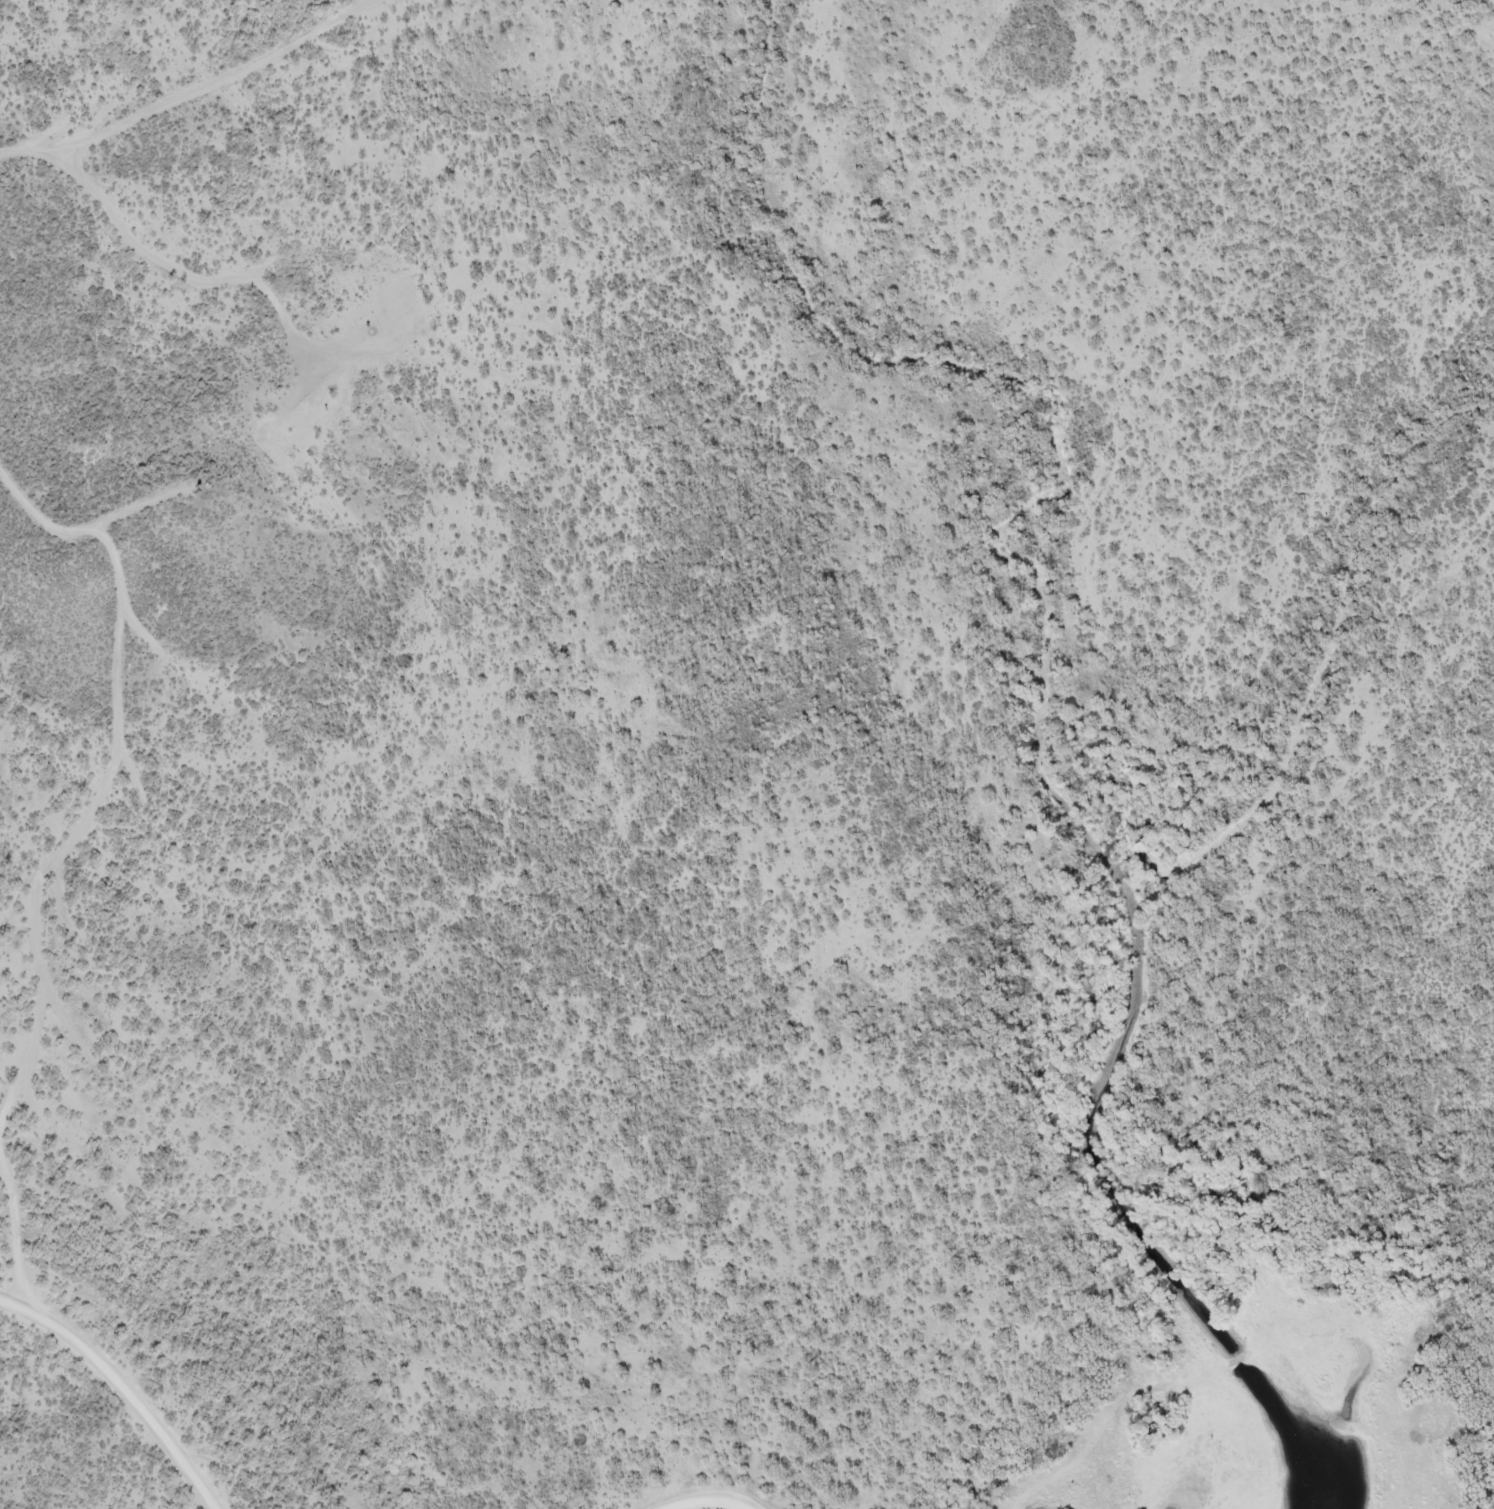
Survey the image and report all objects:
road: (713, 1505)

